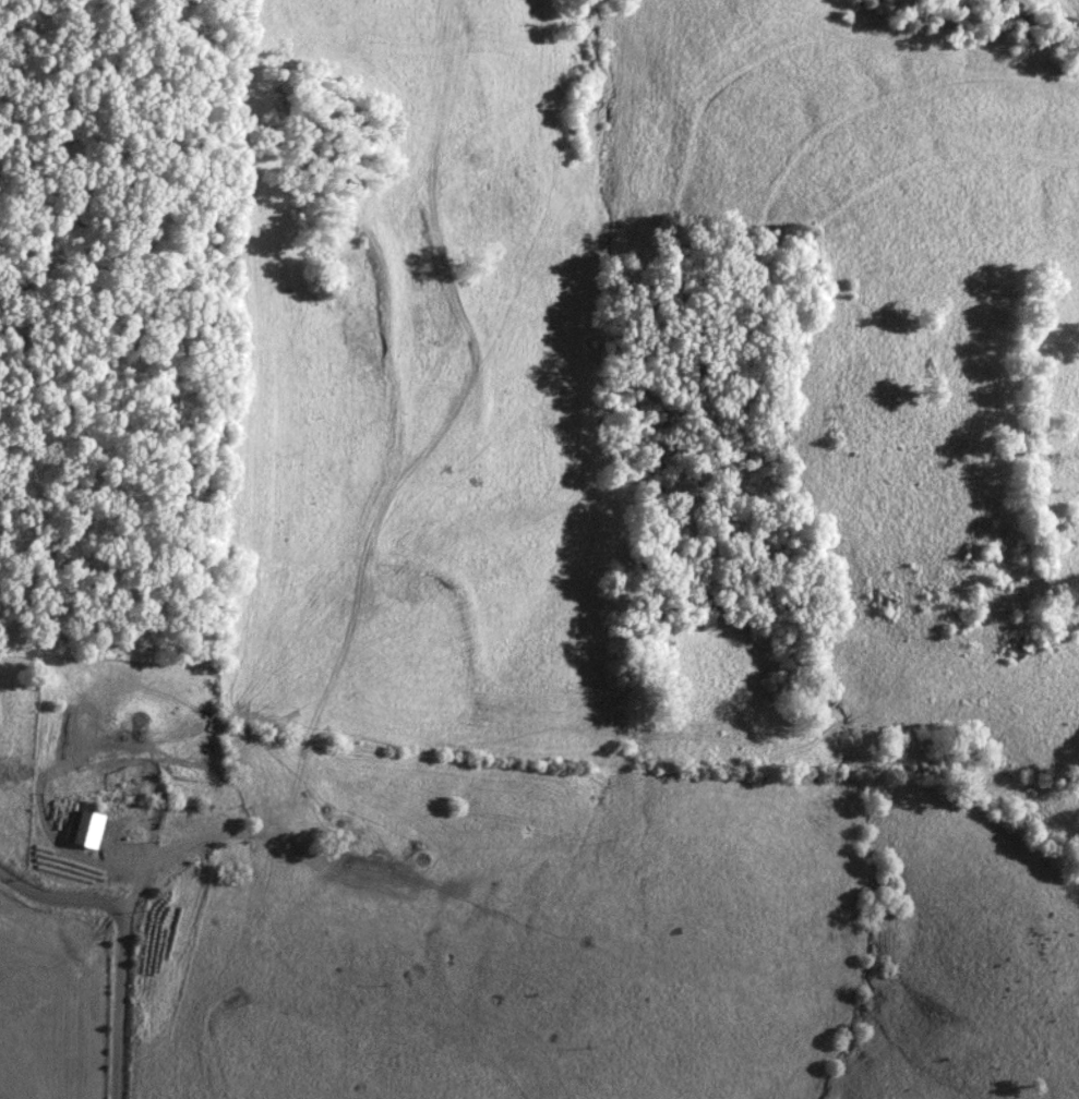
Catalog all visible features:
building: (227, 878)
road: (121, 942)

